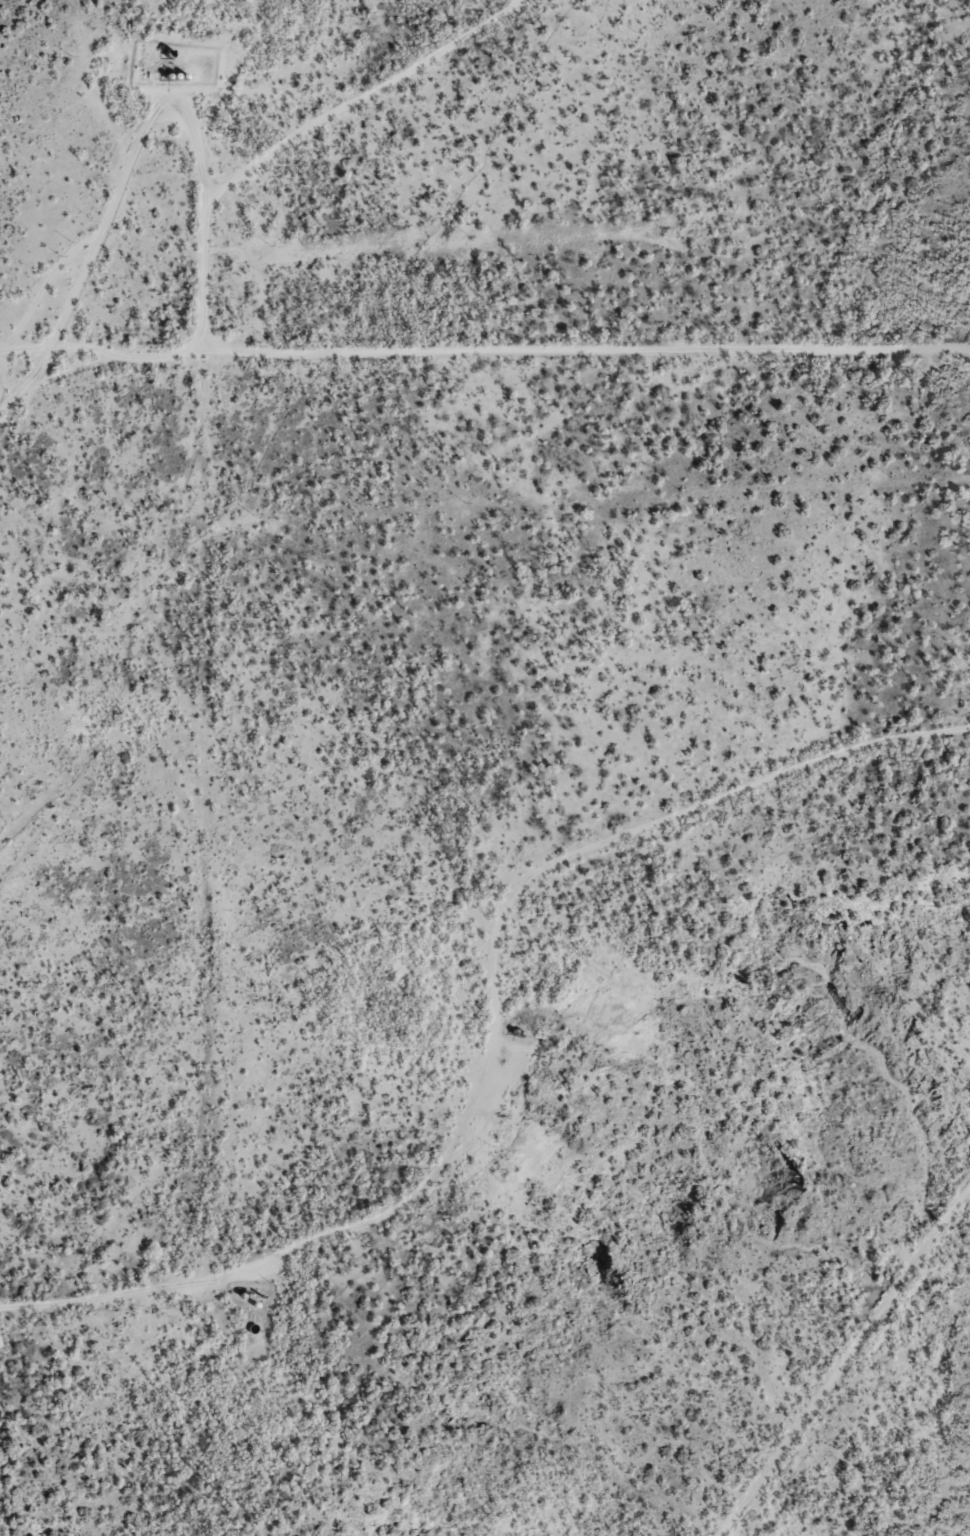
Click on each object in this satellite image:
road: (401, 122)
road: (485, 368)
road: (200, 634)
road: (444, 1012)
road: (851, 1376)

